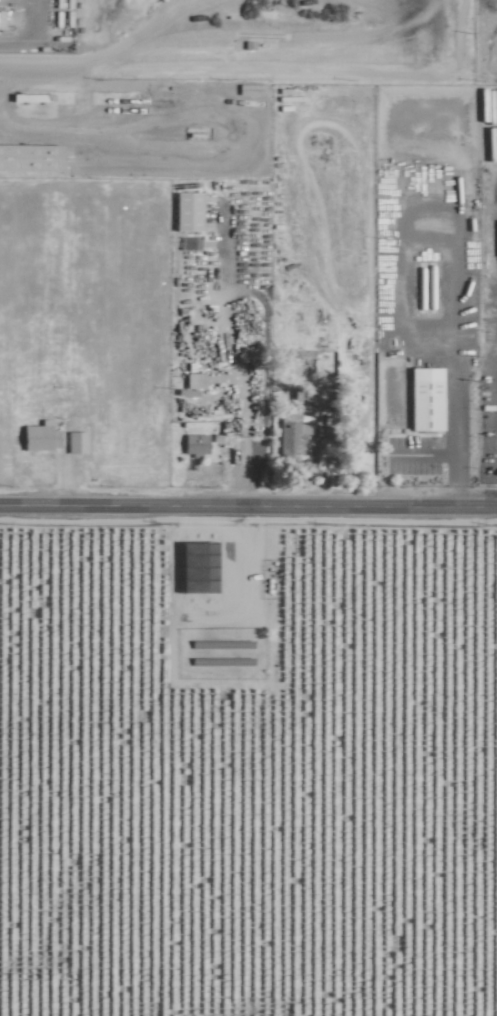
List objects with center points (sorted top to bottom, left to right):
road: (33, 35)
road: (46, 68)
building: (27, 158)
building: (183, 211)
building: (192, 379)
building: (421, 398)
road: (456, 418)
building: (288, 435)
building: (38, 436)
building: (74, 441)
building: (193, 444)
road: (248, 508)

